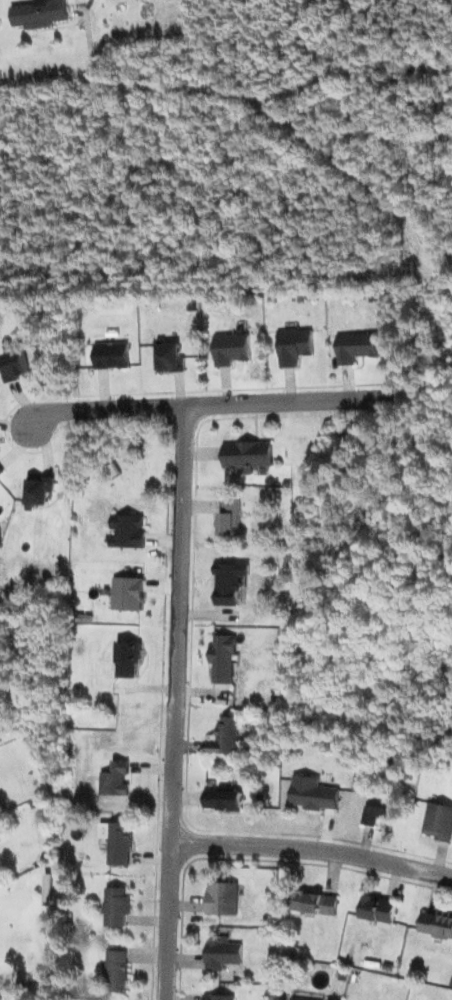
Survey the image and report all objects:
building: (40, 13)
building: (294, 346)
building: (356, 346)
building: (231, 348)
building: (111, 355)
building: (170, 358)
building: (15, 364)
road: (235, 403)
building: (247, 455)
building: (1, 471)
building: (37, 491)
building: (230, 516)
building: (127, 531)
building: (230, 582)
building: (127, 593)
building: (128, 658)
building: (222, 658)
road: (173, 702)
building: (226, 737)
building: (115, 779)
building: (313, 793)
building: (224, 799)
building: (379, 810)
building: (438, 821)
building: (118, 841)
road: (311, 850)
building: (223, 898)
building: (314, 903)
building: (117, 906)
building: (379, 909)
building: (437, 923)
building: (222, 953)
building: (117, 971)
building: (218, 997)
building: (298, 999)

